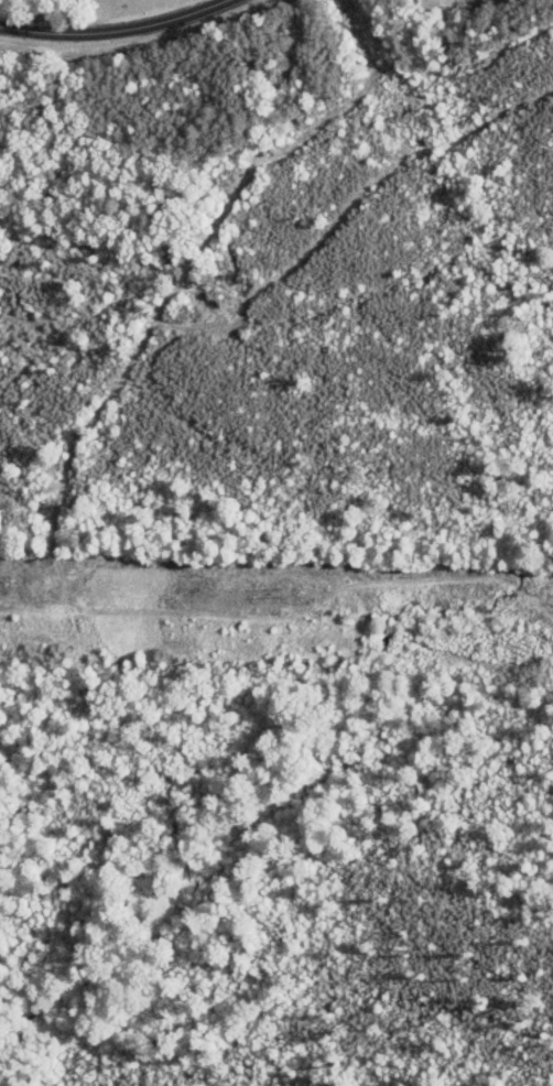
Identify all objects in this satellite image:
road: (116, 31)
power tower: (8, 584)
power tower: (290, 593)

